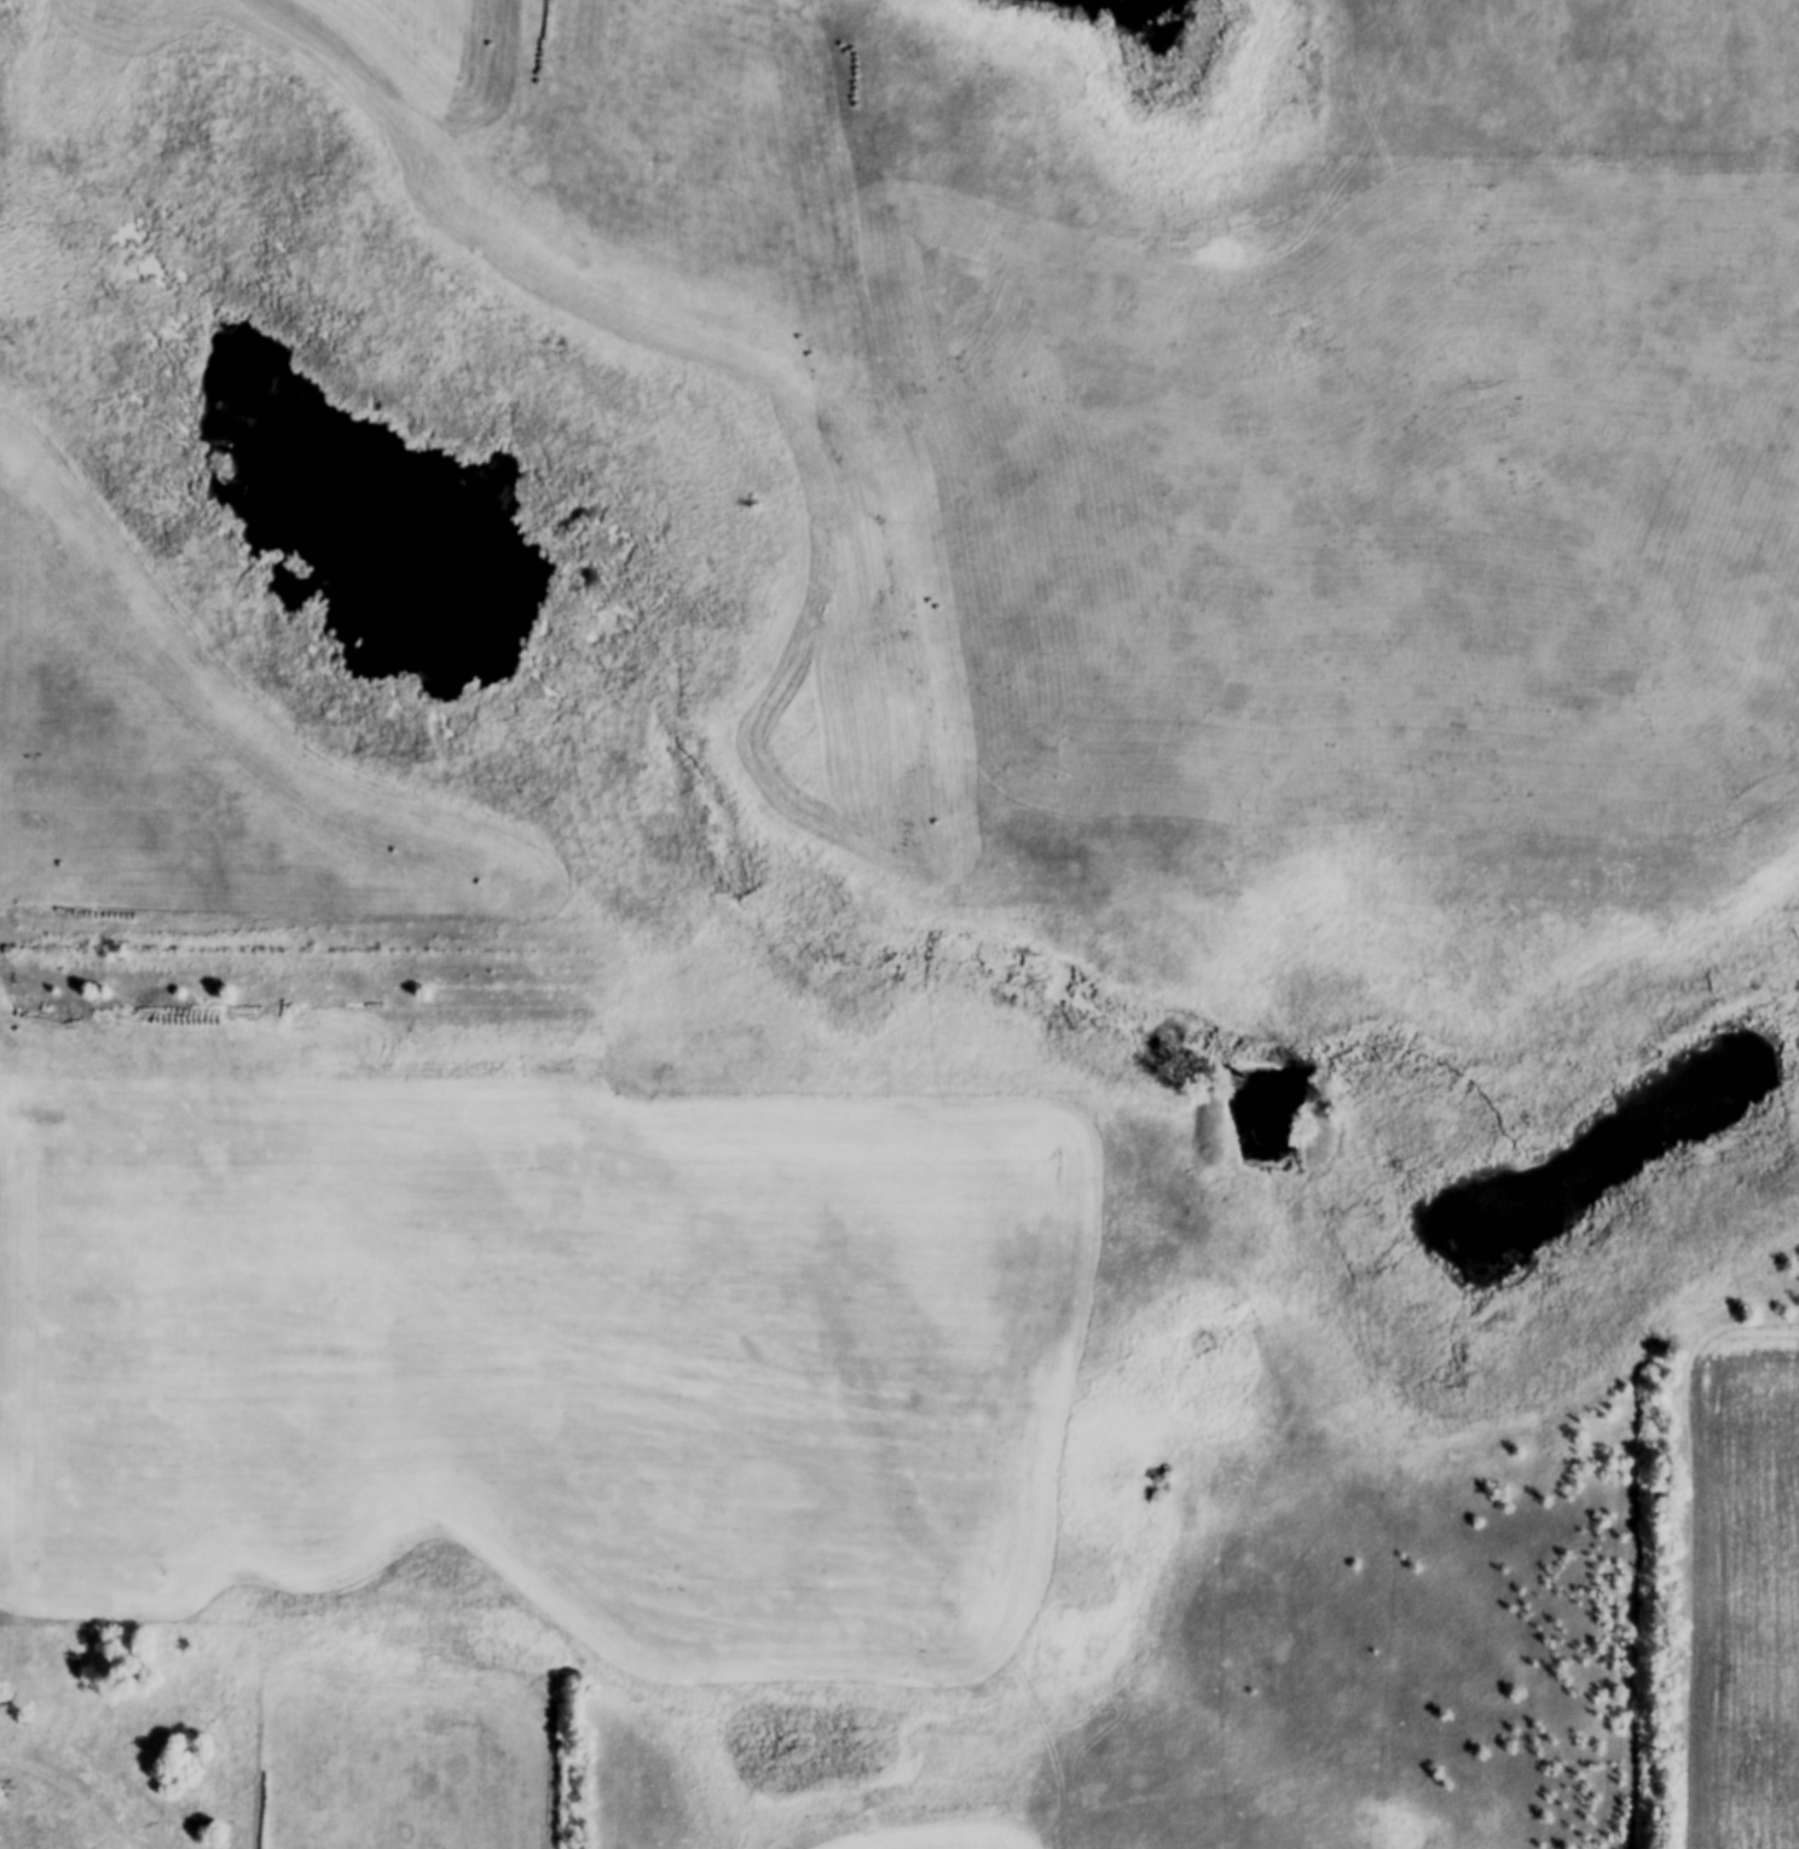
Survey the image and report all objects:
river: (383, 512)
river: (1573, 1193)

